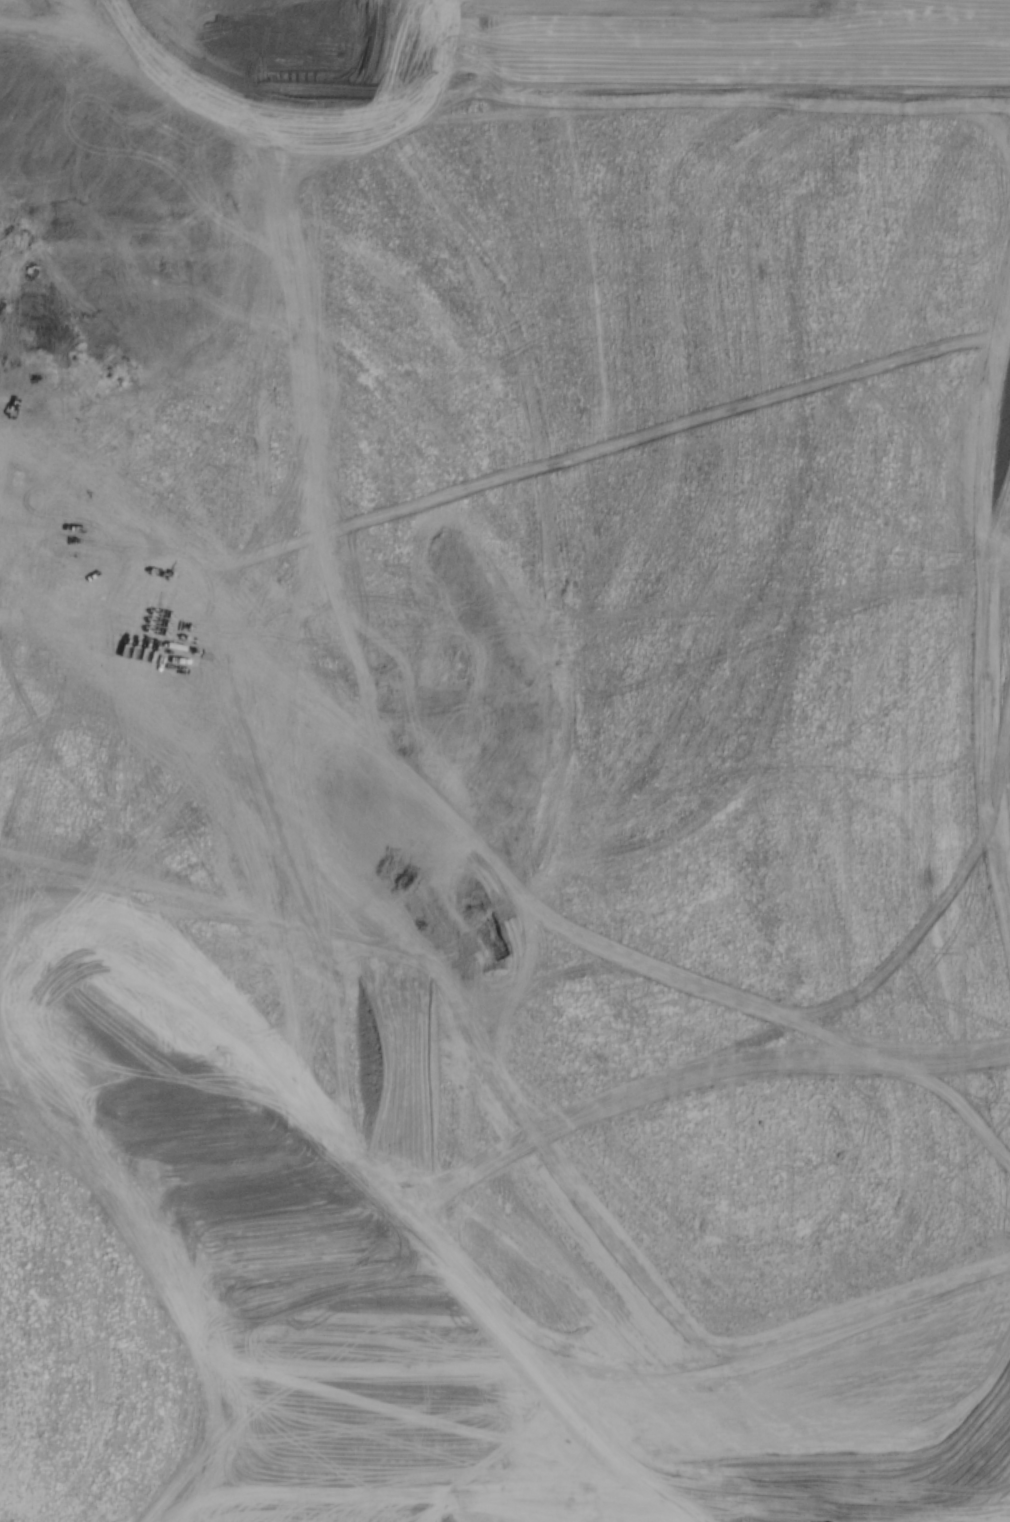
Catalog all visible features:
building: (41, 335)

